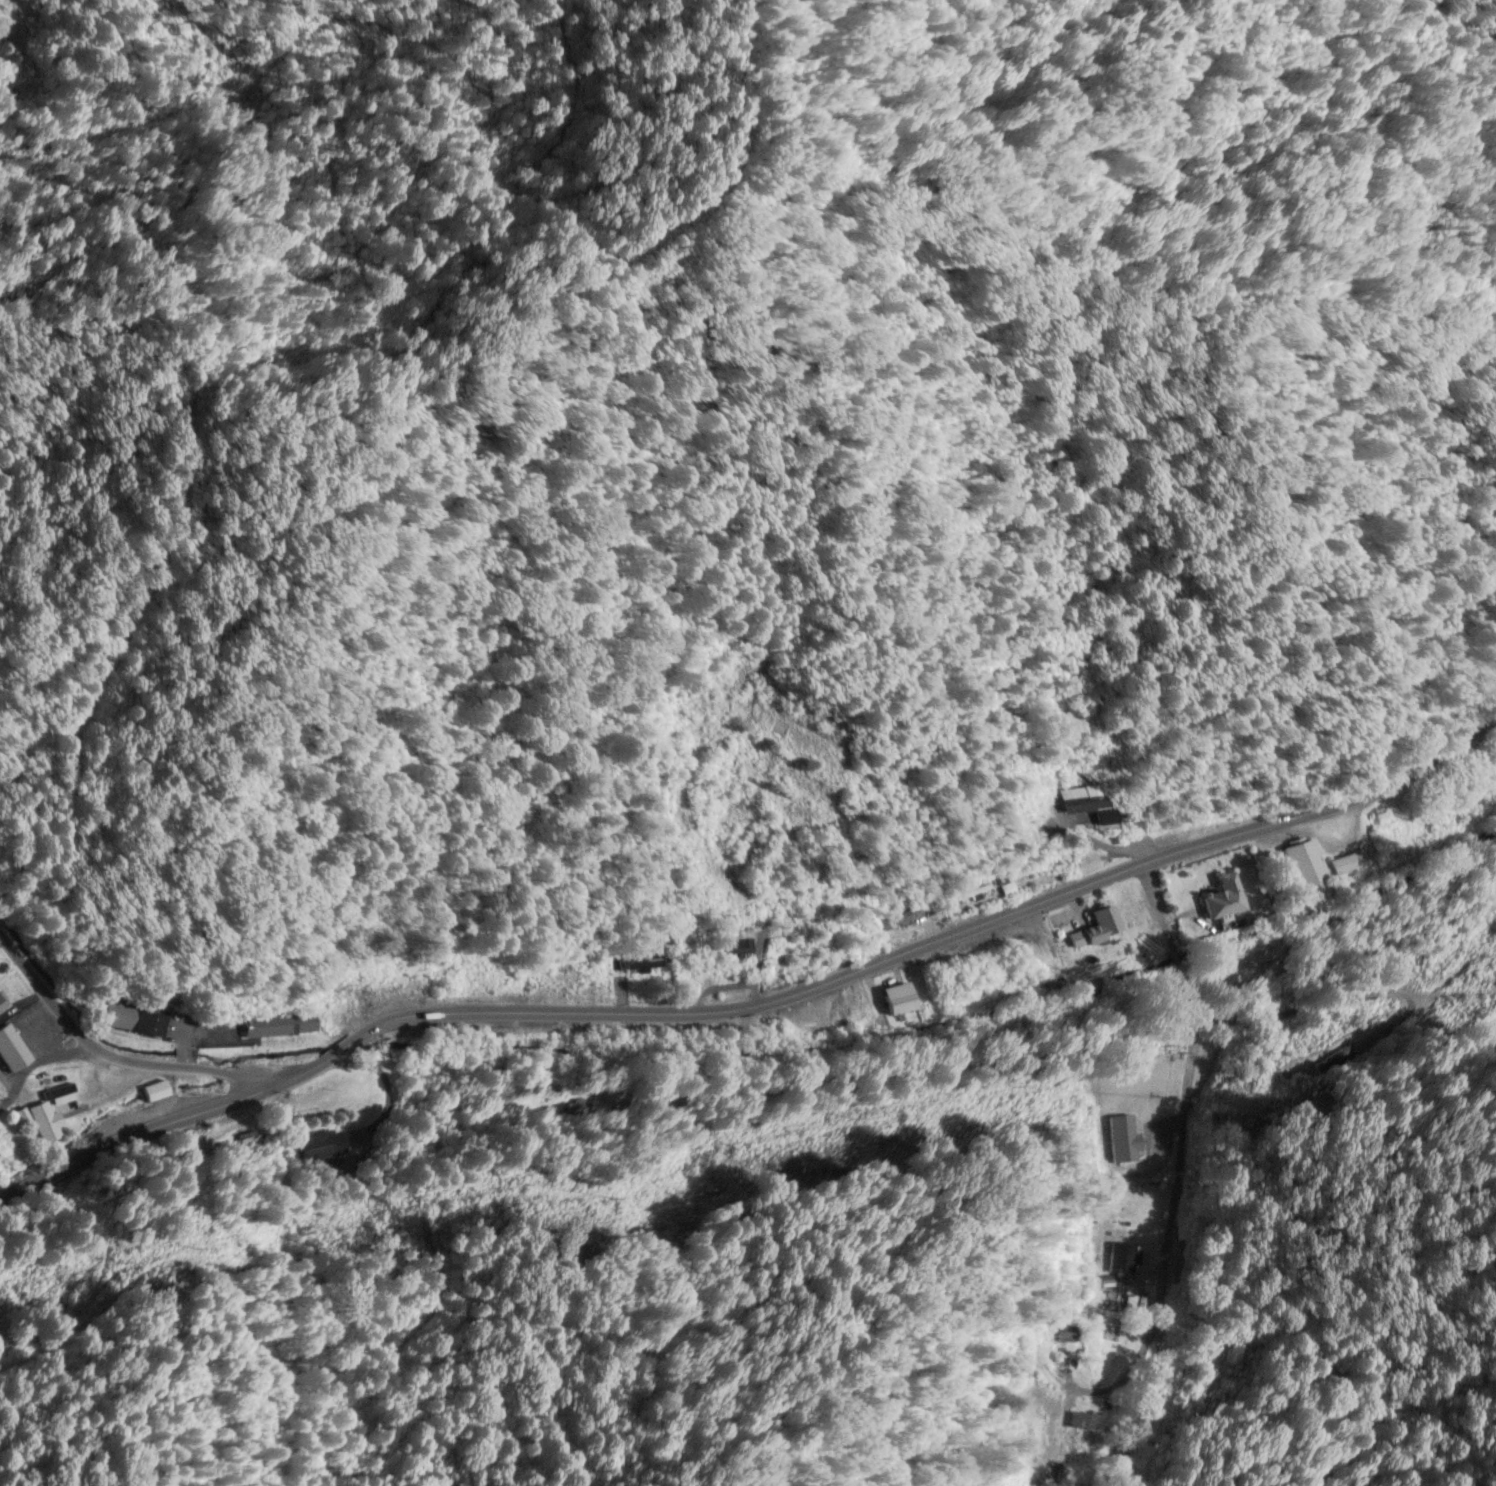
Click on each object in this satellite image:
building: (790, 740)
building: (1072, 780)
building: (1085, 804)
building: (1347, 864)
building: (1304, 870)
building: (967, 893)
building: (1220, 899)
building: (1129, 914)
building: (900, 921)
building: (1094, 929)
building: (736, 947)
building: (643, 963)
building: (813, 963)
building: (557, 980)
building: (475, 985)
road: (752, 990)
building: (897, 1001)
building: (857, 1014)
building: (131, 1021)
building: (277, 1028)
building: (10, 1049)
road: (118, 1058)
road: (38, 1063)
building: (1337, 1063)
road: (7, 1080)
building: (152, 1093)
road: (1191, 1099)
building: (23, 1120)
building: (41, 1131)
building: (327, 1146)
building: (2, 1153)
building: (1140, 1155)
building: (1084, 1426)

